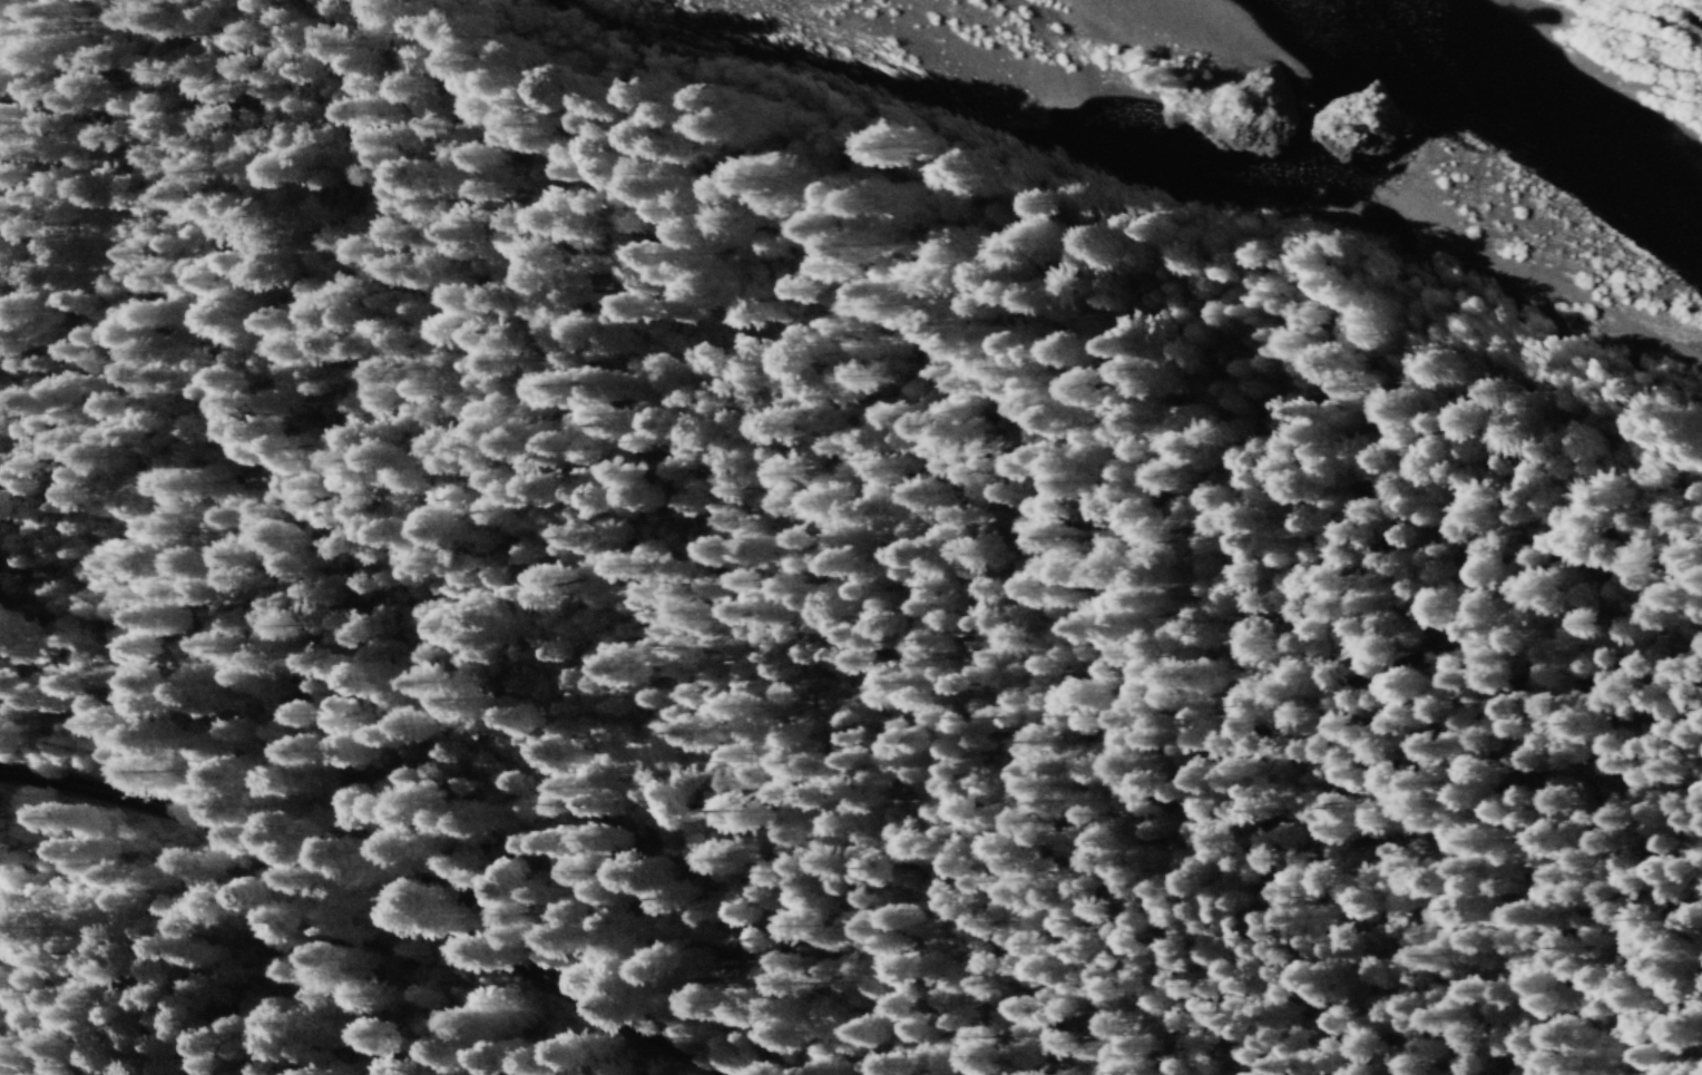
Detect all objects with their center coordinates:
river: (1549, 81)
road: (331, 928)
road: (68, 1016)

